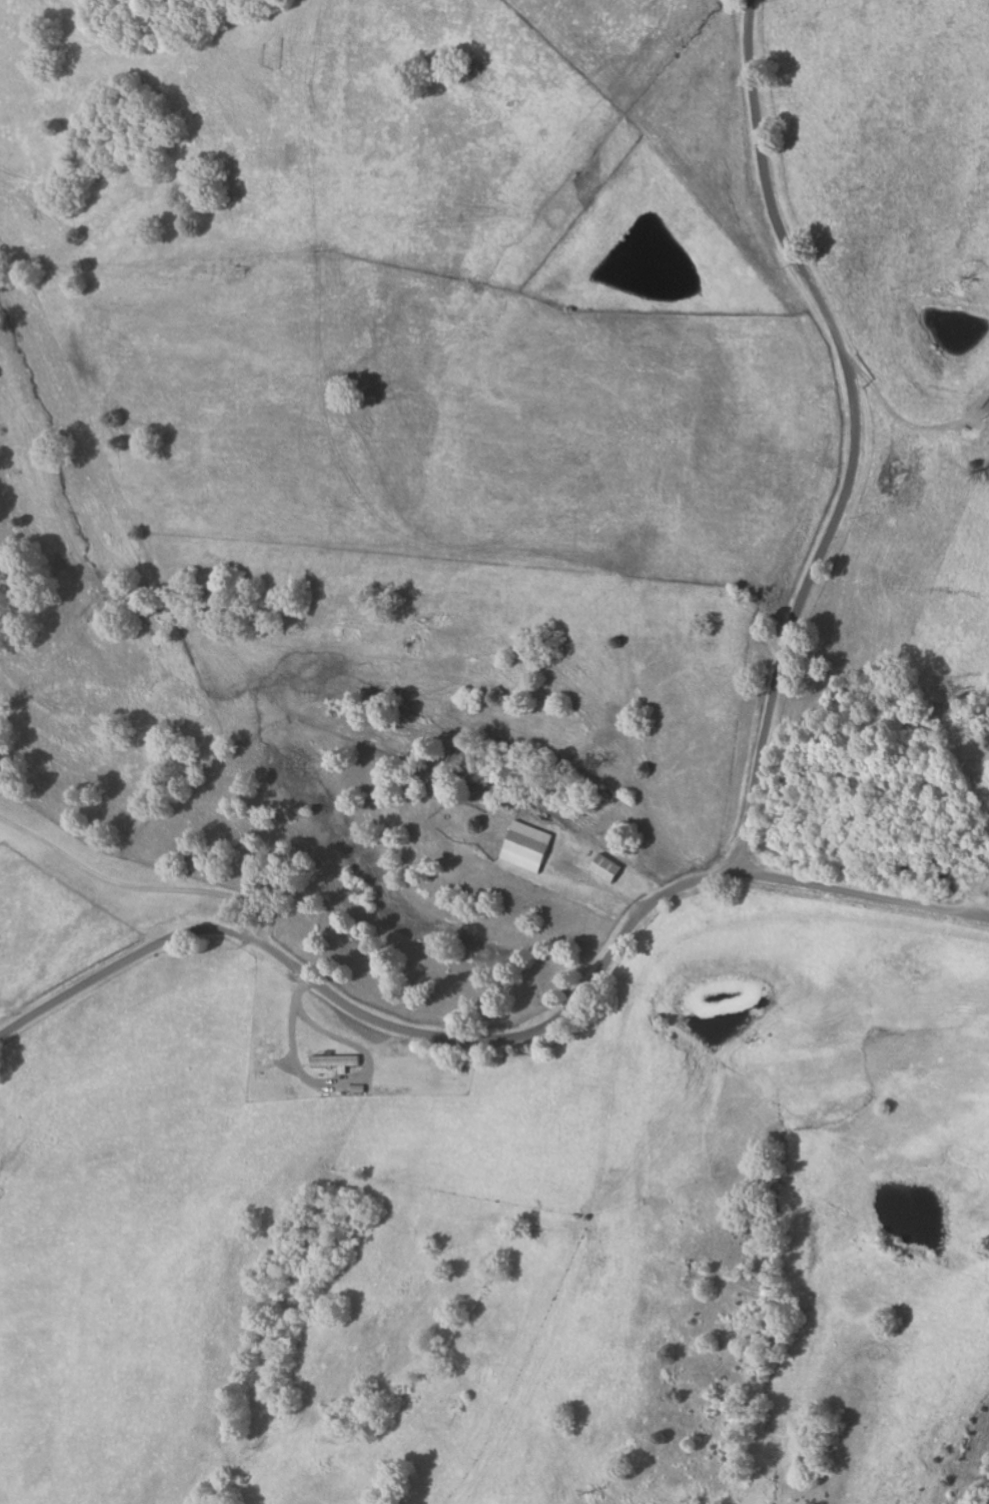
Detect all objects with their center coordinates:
road: (854, 436)
road: (916, 446)
building: (532, 846)
building: (611, 868)
road: (500, 1038)
building: (340, 1061)

